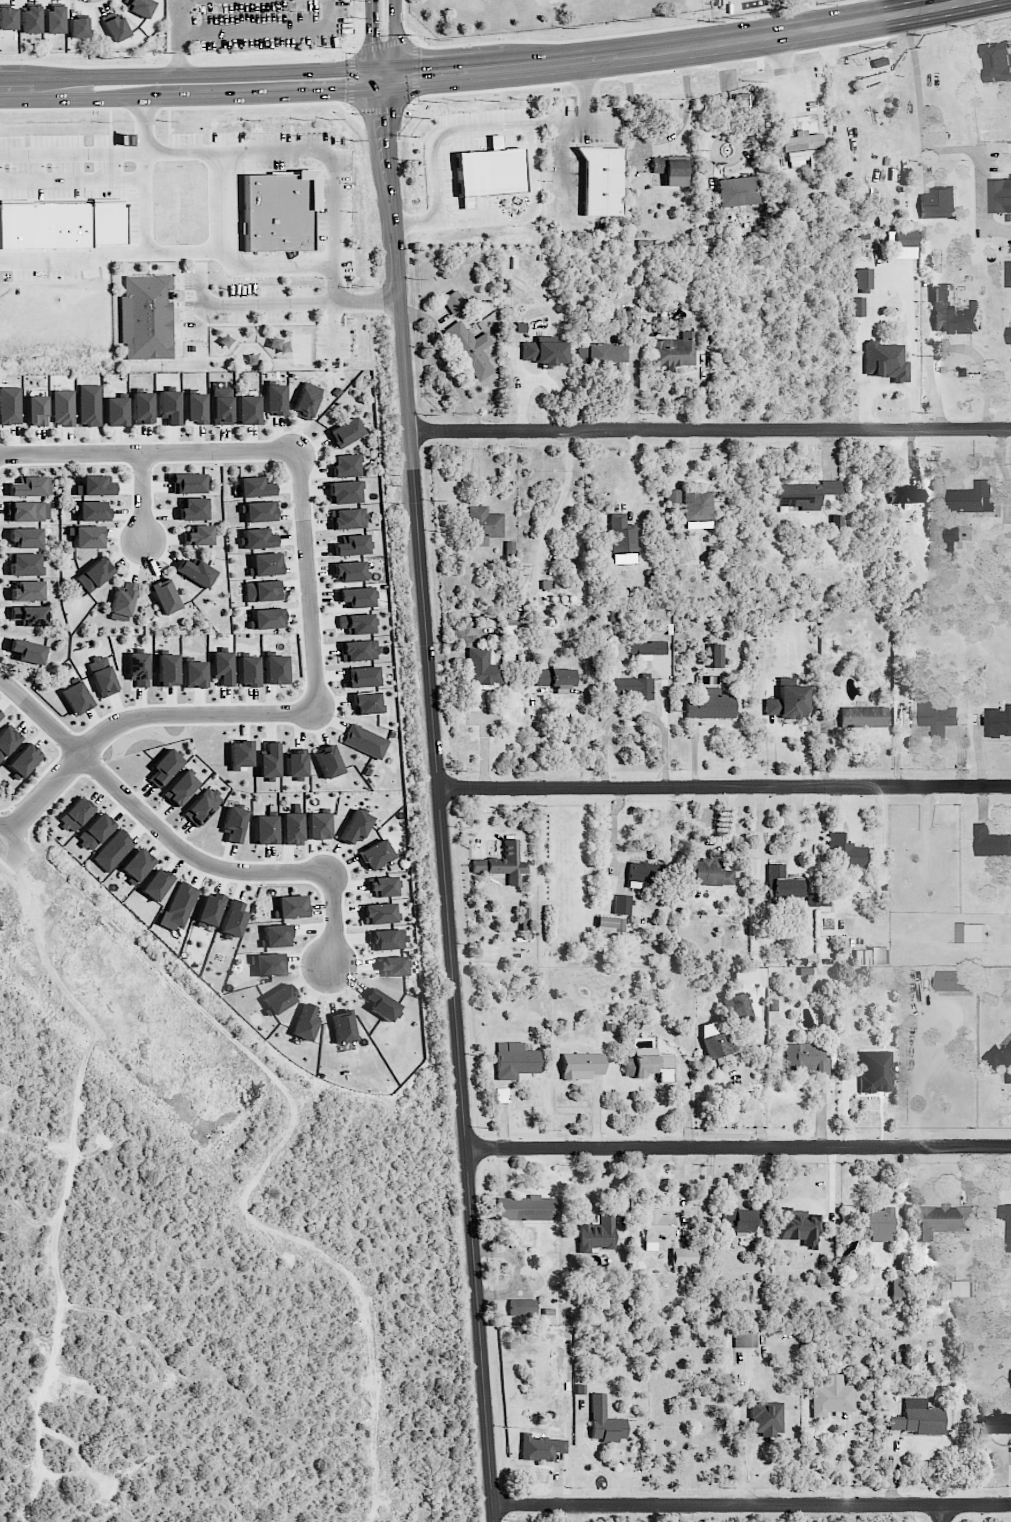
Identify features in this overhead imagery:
park: (548, 0)
road: (180, 3)
building: (138, 7)
road: (878, 9)
road: (179, 14)
road: (204, 15)
road: (806, 15)
building: (7, 18)
building: (31, 19)
building: (54, 19)
parking lot: (267, 23)
building: (114, 26)
building: (78, 27)
road: (267, 28)
road: (612, 36)
road: (395, 38)
road: (372, 39)
traffic signals: (373, 41)
road: (382, 44)
road: (683, 47)
road: (179, 53)
road: (294, 61)
building: (997, 61)
building: (878, 62)
road: (708, 64)
road: (89, 66)
road: (415, 71)
road: (212, 73)
traffic signals: (421, 74)
road: (383, 77)
road: (352, 79)
road: (726, 88)
road: (26, 89)
traffic signals: (345, 90)
road: (586, 90)
road: (213, 95)
building: (743, 101)
road: (188, 107)
road: (381, 109)
road: (391, 115)
traffic signals: (391, 116)
road: (574, 122)
road: (661, 138)
road: (531, 147)
road: (716, 148)
road: (932, 148)
building: (803, 149)
road: (283, 150)
road: (375, 152)
road: (72, 153)
building: (672, 170)
building: (489, 172)
road: (563, 174)
building: (601, 180)
road: (73, 187)
road: (392, 190)
building: (735, 191)
building: (1000, 195)
road: (146, 203)
building: (938, 204)
parking lot: (334, 208)
building: (276, 212)
building: (67, 226)
road: (239, 228)
building: (900, 238)
building: (904, 252)
road: (115, 255)
road: (232, 256)
building: (1008, 273)
building: (863, 278)
building: (453, 301)
road: (367, 302)
road: (268, 304)
building: (857, 306)
parking lot: (260, 308)
building: (953, 313)
road: (181, 314)
building: (146, 317)
road: (334, 330)
building: (1008, 336)
road: (951, 345)
road: (239, 346)
road: (864, 348)
building: (470, 349)
building: (674, 350)
building: (544, 351)
building: (600, 353)
building: (274, 399)
building: (306, 400)
building: (10, 405)
building: (89, 405)
building: (168, 406)
building: (221, 406)
building: (63, 407)
building: (142, 408)
building: (195, 408)
building: (247, 409)
building: (36, 410)
building: (116, 411)
building: (345, 432)
road: (709, 432)
road: (149, 451)
building: (344, 465)
road: (633, 465)
building: (187, 483)
building: (96, 485)
building: (31, 486)
building: (254, 487)
building: (830, 487)
building: (345, 492)
building: (906, 493)
building: (673, 495)
building: (799, 495)
road: (143, 497)
building: (972, 497)
road: (561, 500)
building: (697, 505)
building: (193, 508)
building: (92, 510)
building: (28, 511)
building: (258, 511)
building: (348, 518)
building: (483, 525)
building: (622, 534)
building: (958, 534)
building: (198, 535)
building: (88, 536)
building: (25, 537)
building: (258, 538)
building: (351, 545)
building: (950, 549)
building: (25, 564)
building: (265, 564)
building: (350, 571)
building: (195, 572)
building: (93, 574)
road: (308, 581)
building: (27, 590)
building: (262, 590)
building: (164, 596)
building: (355, 597)
building: (123, 599)
building: (29, 615)
building: (268, 617)
building: (356, 623)
building: (515, 631)
building: (359, 650)
building: (27, 651)
building: (715, 655)
building: (222, 667)
building: (483, 667)
building: (138, 668)
building: (275, 669)
building: (167, 670)
building: (248, 671)
building: (194, 674)
building: (101, 676)
building: (361, 676)
building: (554, 677)
building: (631, 687)
road: (665, 696)
building: (76, 697)
building: (787, 702)
building: (366, 703)
road: (588, 703)
building: (710, 705)
building: (0, 714)
building: (863, 715)
building: (936, 715)
road: (136, 717)
building: (998, 721)
road: (610, 724)
road: (589, 728)
road: (536, 735)
building: (7, 740)
building: (364, 741)
road: (60, 751)
building: (240, 753)
road: (665, 758)
building: (23, 760)
building: (327, 760)
building: (269, 761)
building: (296, 763)
building: (164, 767)
road: (724, 787)
building: (180, 788)
road: (134, 793)
building: (201, 806)
building: (75, 813)
road: (148, 815)
building: (233, 824)
building: (318, 825)
building: (355, 826)
road: (13, 827)
building: (291, 828)
building: (265, 829)
building: (95, 831)
building: (990, 841)
road: (12, 850)
building: (113, 850)
building: (845, 851)
building: (375, 854)
road: (779, 854)
building: (503, 863)
road: (6, 865)
building: (136, 865)
road: (444, 873)
building: (706, 873)
building: (156, 883)
building: (784, 883)
building: (382, 886)
building: (818, 899)
building: (181, 904)
building: (622, 904)
building: (290, 906)
building: (209, 908)
building: (379, 913)
building: (233, 917)
road: (333, 918)
building: (524, 918)
building: (610, 925)
building: (275, 936)
building: (972, 936)
building: (386, 939)
building: (879, 955)
building: (862, 957)
building: (267, 964)
building: (391, 966)
building: (761, 977)
building: (954, 980)
building: (279, 997)
building: (380, 1004)
building: (737, 1006)
building: (304, 1022)
building: (342, 1026)
building: (717, 1043)
road: (219, 1055)
building: (998, 1057)
building: (806, 1058)
building: (515, 1060)
building: (649, 1064)
building: (581, 1065)
building: (875, 1071)
road: (738, 1146)
road: (55, 1157)
road: (731, 1191)
building: (525, 1209)
building: (742, 1219)
road: (223, 1221)
building: (944, 1221)
building: (1006, 1222)
building: (878, 1224)
building: (799, 1225)
road: (261, 1227)
building: (657, 1227)
building: (598, 1234)
building: (684, 1256)
building: (898, 1283)
building: (962, 1288)
building: (522, 1307)
building: (745, 1339)
road: (100, 1349)
building: (1009, 1375)
building: (832, 1396)
building: (766, 1418)
building: (919, 1418)
building: (605, 1421)
building: (992, 1422)
road: (740, 1439)
building: (541, 1447)
road: (751, 1505)
road: (247, 1511)
road: (940, 1513)

